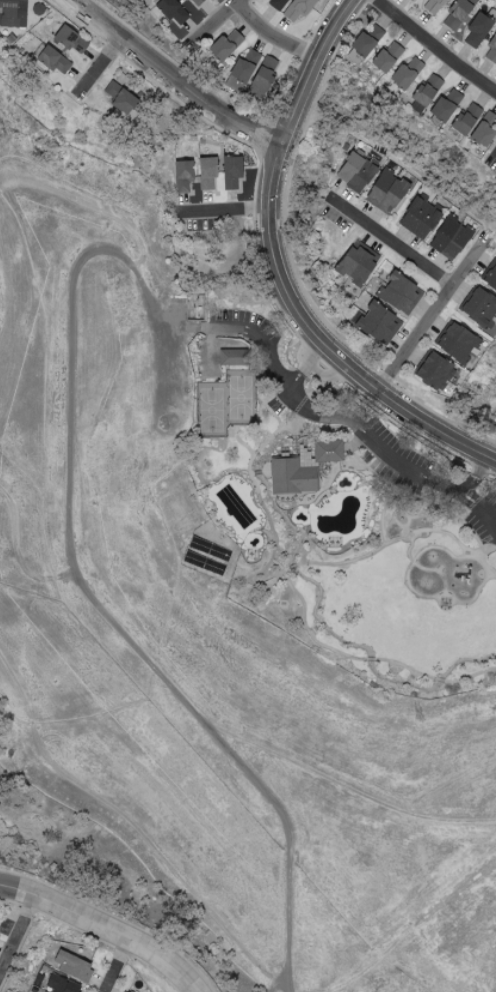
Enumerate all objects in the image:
building: (409, 0)
building: (194, 2)
building: (432, 6)
building: (296, 8)
building: (171, 10)
building: (457, 12)
building: (12, 13)
road: (217, 20)
building: (476, 30)
road: (273, 35)
building: (69, 39)
building: (224, 45)
building: (361, 45)
road: (434, 48)
building: (491, 48)
building: (386, 56)
building: (52, 60)
building: (243, 66)
building: (404, 73)
building: (261, 76)
road: (169, 78)
building: (233, 84)
building: (423, 94)
building: (118, 97)
building: (443, 106)
building: (464, 120)
building: (483, 129)
road: (493, 162)
building: (355, 171)
building: (230, 172)
building: (205, 173)
building: (181, 176)
building: (384, 191)
road: (220, 209)
building: (419, 216)
building: (449, 238)
road: (258, 239)
road: (389, 240)
building: (355, 263)
road: (277, 274)
building: (490, 278)
building: (398, 294)
building: (478, 307)
road: (430, 318)
building: (377, 323)
building: (456, 344)
building: (230, 357)
road: (272, 364)
building: (434, 372)
building: (326, 449)
road: (392, 458)
building: (290, 475)
road: (474, 475)
road: (72, 566)
road: (289, 587)
road: (114, 918)
road: (103, 929)
road: (17, 932)
building: (72, 966)
road: (116, 966)
building: (60, 984)
building: (124, 991)

